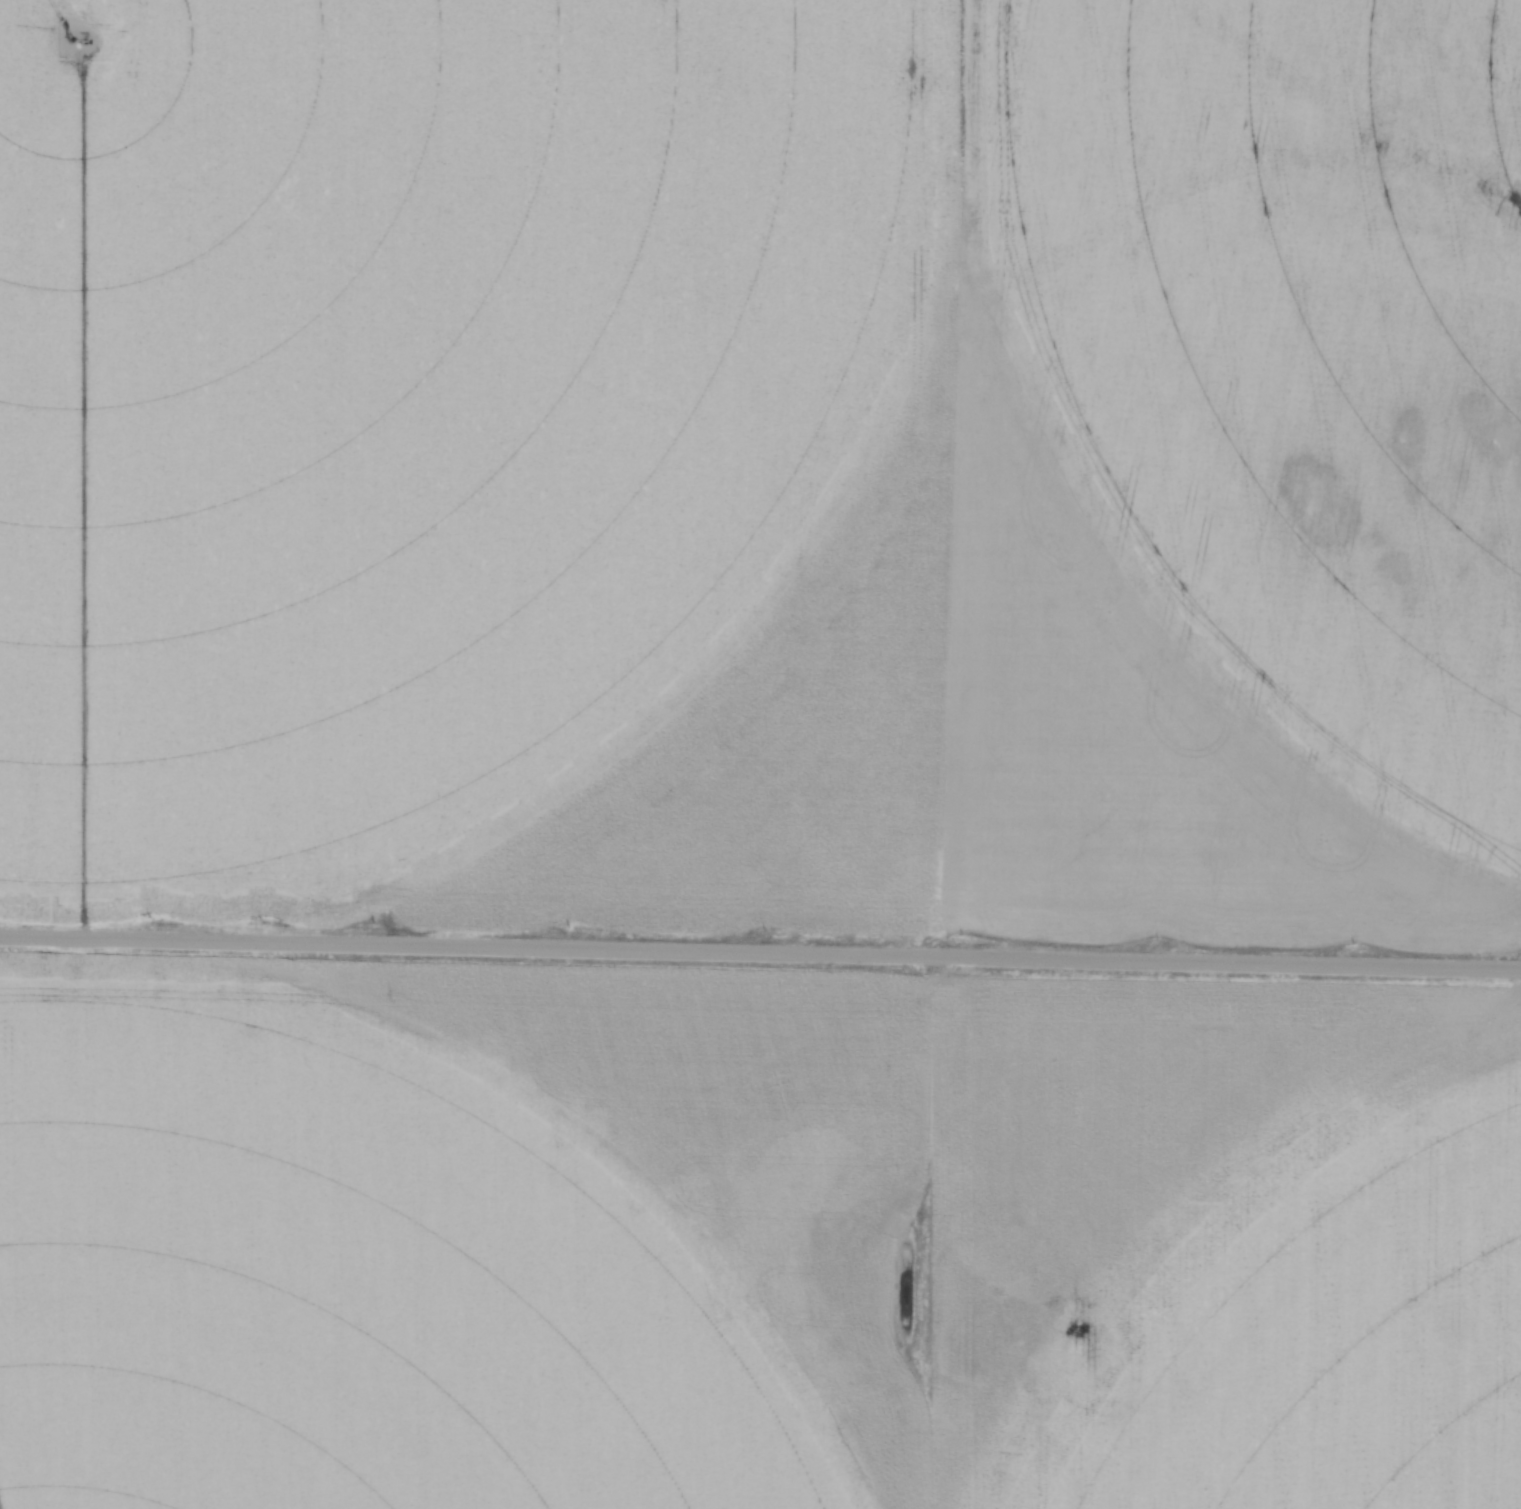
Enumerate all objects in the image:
crop: (764, 470)
road: (760, 953)
crop: (752, 1239)

